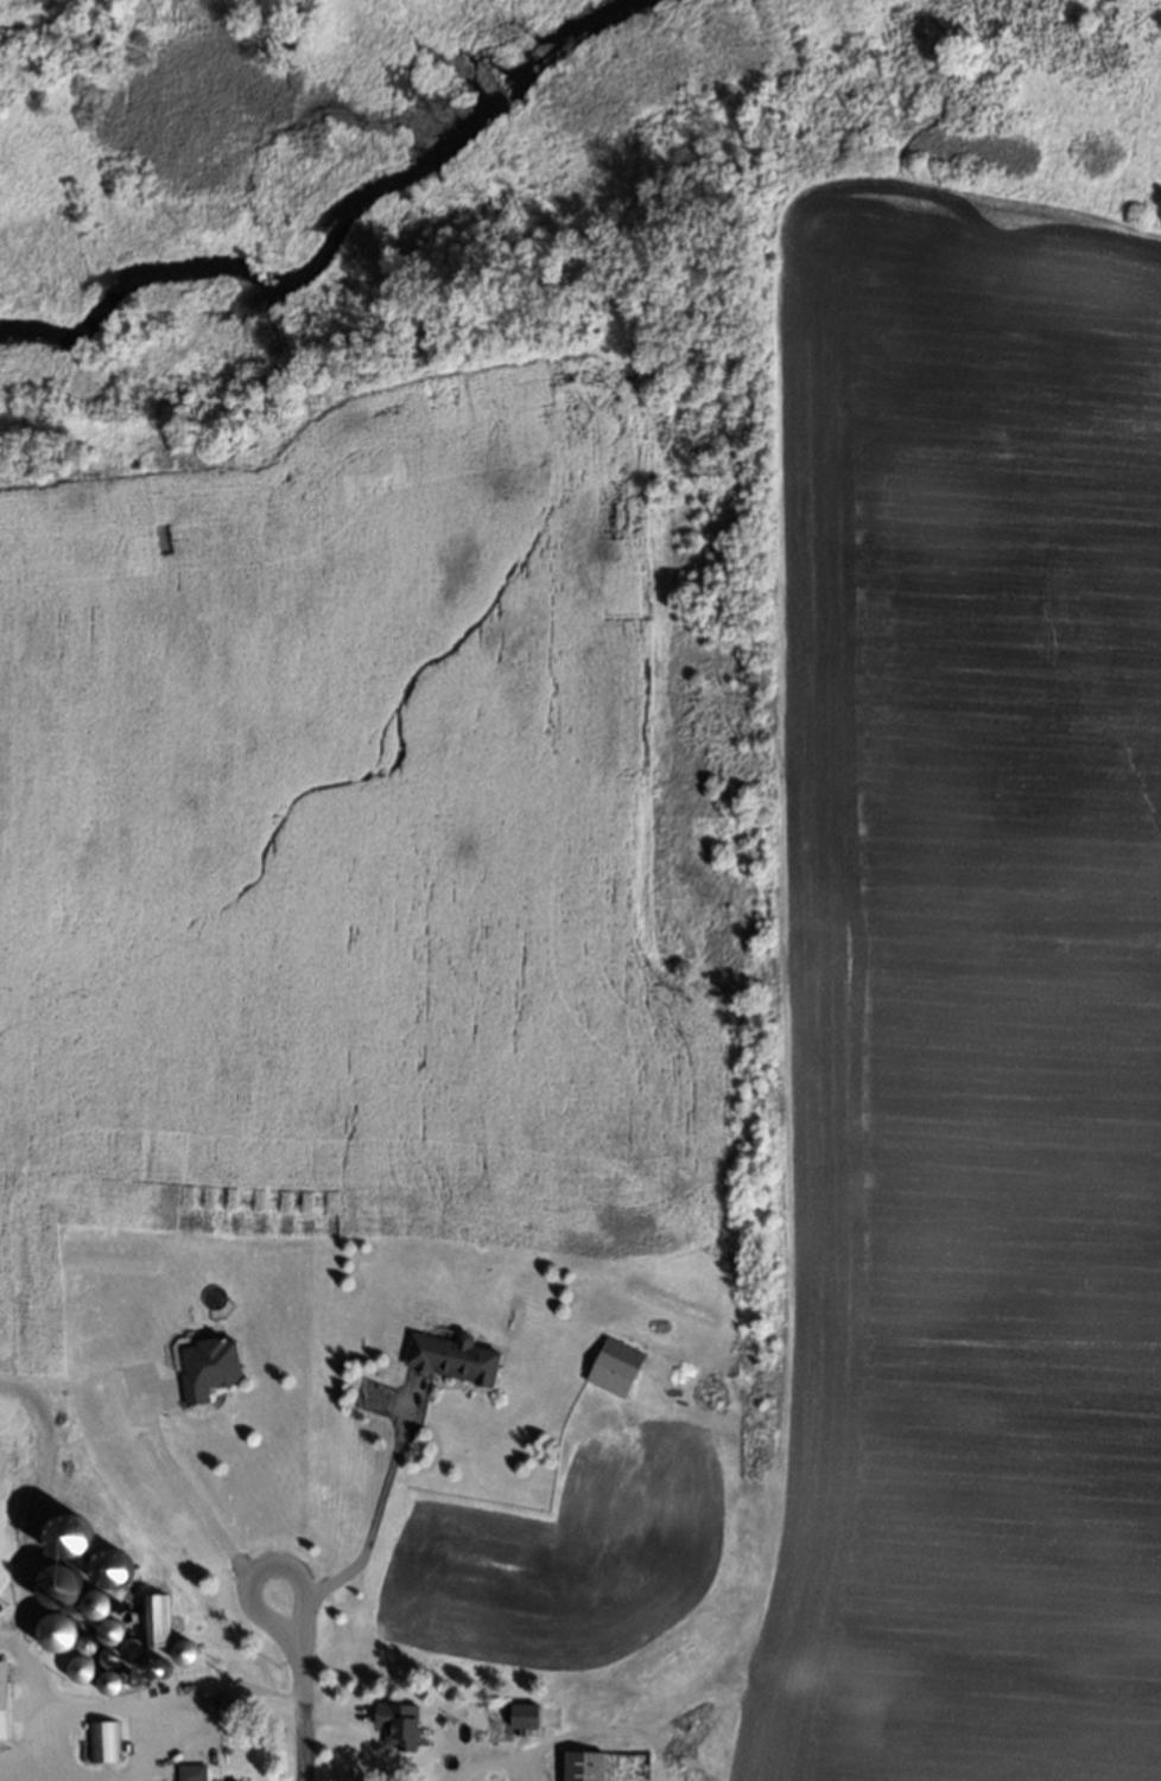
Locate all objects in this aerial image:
river: (348, 202)
building: (448, 1346)
building: (205, 1365)
building: (610, 1365)
road: (180, 1478)
road: (374, 1509)
building: (71, 1534)
building: (109, 1566)
road: (258, 1570)
building: (57, 1585)
building: (94, 1603)
building: (129, 1616)
building: (156, 1623)
building: (107, 1630)
building: (56, 1633)
building: (84, 1643)
building: (129, 1647)
building: (184, 1652)
building: (108, 1656)
building: (158, 1666)
building: (77, 1668)
building: (4, 1669)
building: (108, 1683)
building: (2, 1709)
road: (75, 1711)
road: (300, 1716)
building: (521, 1717)
building: (395, 1723)
building: (101, 1739)
road: (497, 1757)
building: (599, 1766)
building: (189, 1774)

